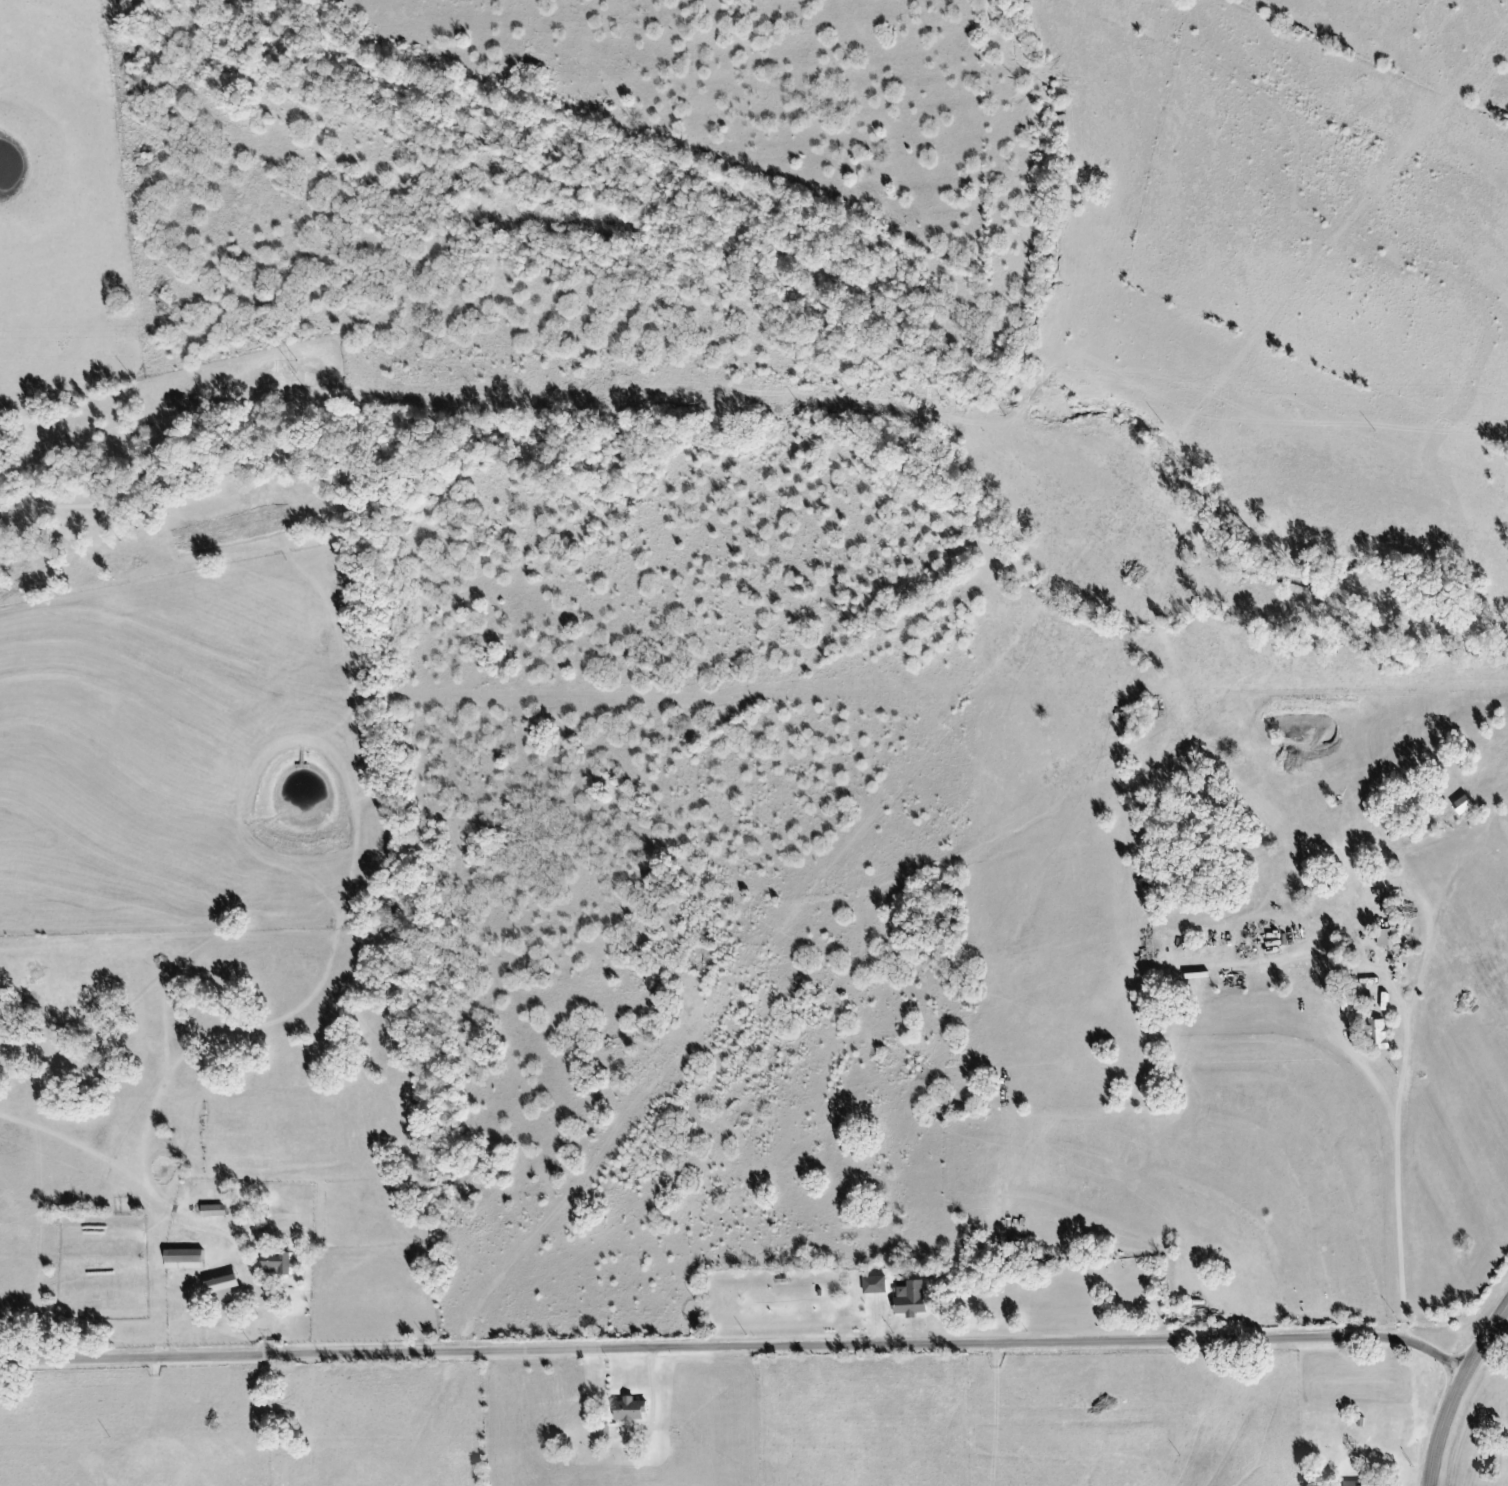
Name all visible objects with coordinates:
power tower: (298, 368)
power tower: (927, 396)
building: (1467, 804)
building: (1389, 937)
building: (1376, 1034)
road: (1397, 1129)
building: (217, 1210)
building: (188, 1259)
building: (281, 1263)
building: (781, 1279)
building: (877, 1285)
building: (228, 1288)
park: (1067, 1295)
building: (912, 1301)
building: (881, 1323)
road: (1500, 1323)
road: (736, 1346)
road: (1454, 1388)
road: (650, 1402)
building: (628, 1408)
building: (1359, 1421)
building: (608, 1431)
building: (1351, 1483)

